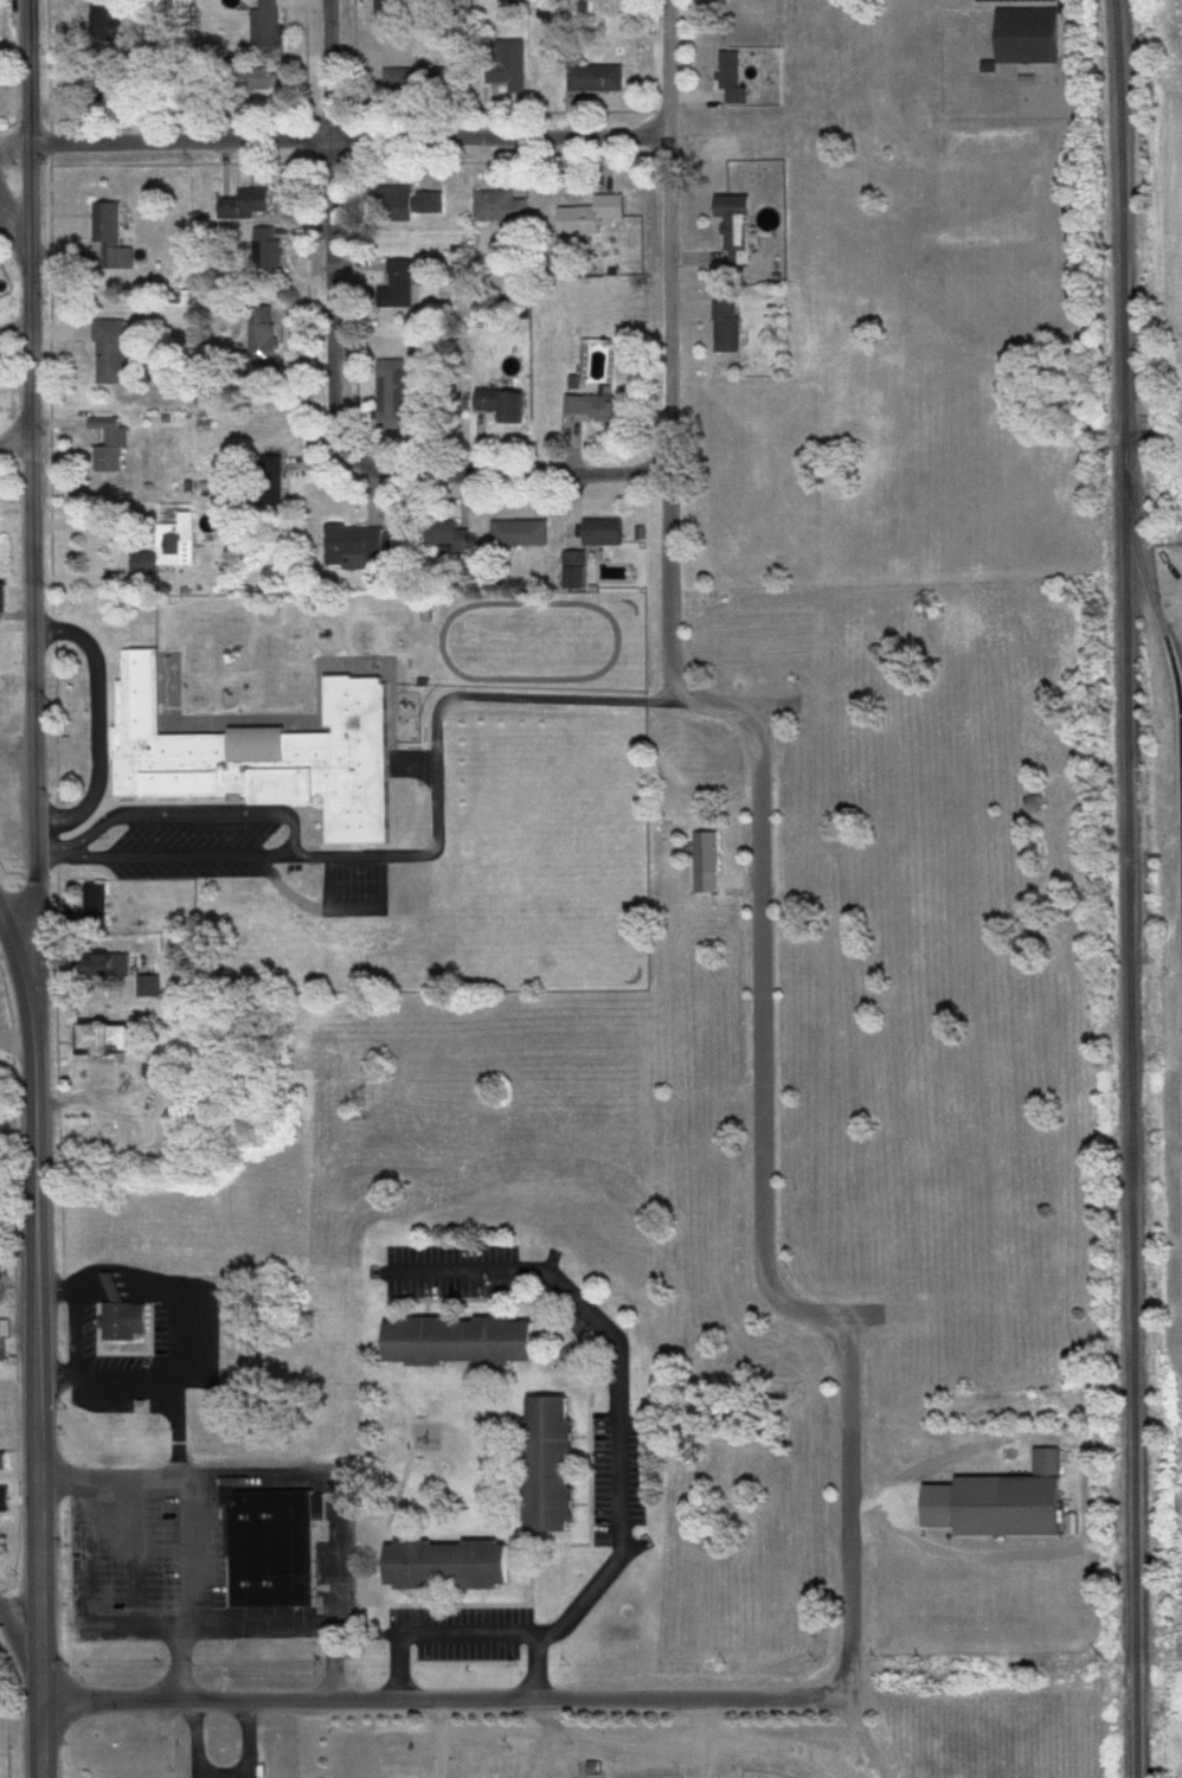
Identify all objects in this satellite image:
building: (392, 6)
building: (271, 24)
building: (1019, 36)
building: (0, 39)
building: (515, 68)
road: (329, 71)
building: (598, 78)
building: (735, 78)
building: (420, 81)
road: (334, 142)
building: (412, 201)
building: (249, 204)
building: (505, 206)
building: (595, 216)
building: (741, 229)
road: (669, 236)
road: (18, 237)
building: (114, 237)
building: (269, 249)
building: (405, 283)
building: (731, 328)
building: (270, 339)
building: (115, 353)
building: (397, 396)
building: (509, 406)
building: (606, 409)
road: (17, 434)
building: (116, 441)
road: (345, 454)
building: (277, 496)
building: (1, 507)
road: (33, 507)
building: (605, 533)
building: (523, 534)
road: (120, 540)
building: (460, 541)
building: (360, 543)
building: (163, 554)
building: (578, 565)
building: (5, 604)
road: (667, 633)
railway: (1165, 636)
building: (6, 697)
road: (101, 724)
road: (436, 724)
building: (268, 756)
building: (1180, 783)
building: (7, 787)
road: (188, 813)
road: (166, 859)
building: (708, 864)
railway: (1128, 888)
building: (99, 901)
building: (110, 968)
building: (152, 988)
building: (118, 1041)
road: (757, 1055)
road: (18, 1247)
road: (36, 1282)
road: (54, 1290)
building: (124, 1314)
road: (75, 1335)
building: (462, 1341)
building: (5, 1352)
road: (150, 1385)
building: (7, 1461)
building: (555, 1463)
road: (619, 1482)
building: (6, 1498)
road: (846, 1503)
building: (991, 1504)
road: (186, 1517)
road: (338, 1521)
building: (275, 1548)
building: (449, 1564)
road: (17, 1633)
road: (537, 1664)
road: (442, 1699)
road: (39, 1715)
park: (714, 1741)
road: (218, 1770)
park: (754, 1776)
park: (660, 1777)

